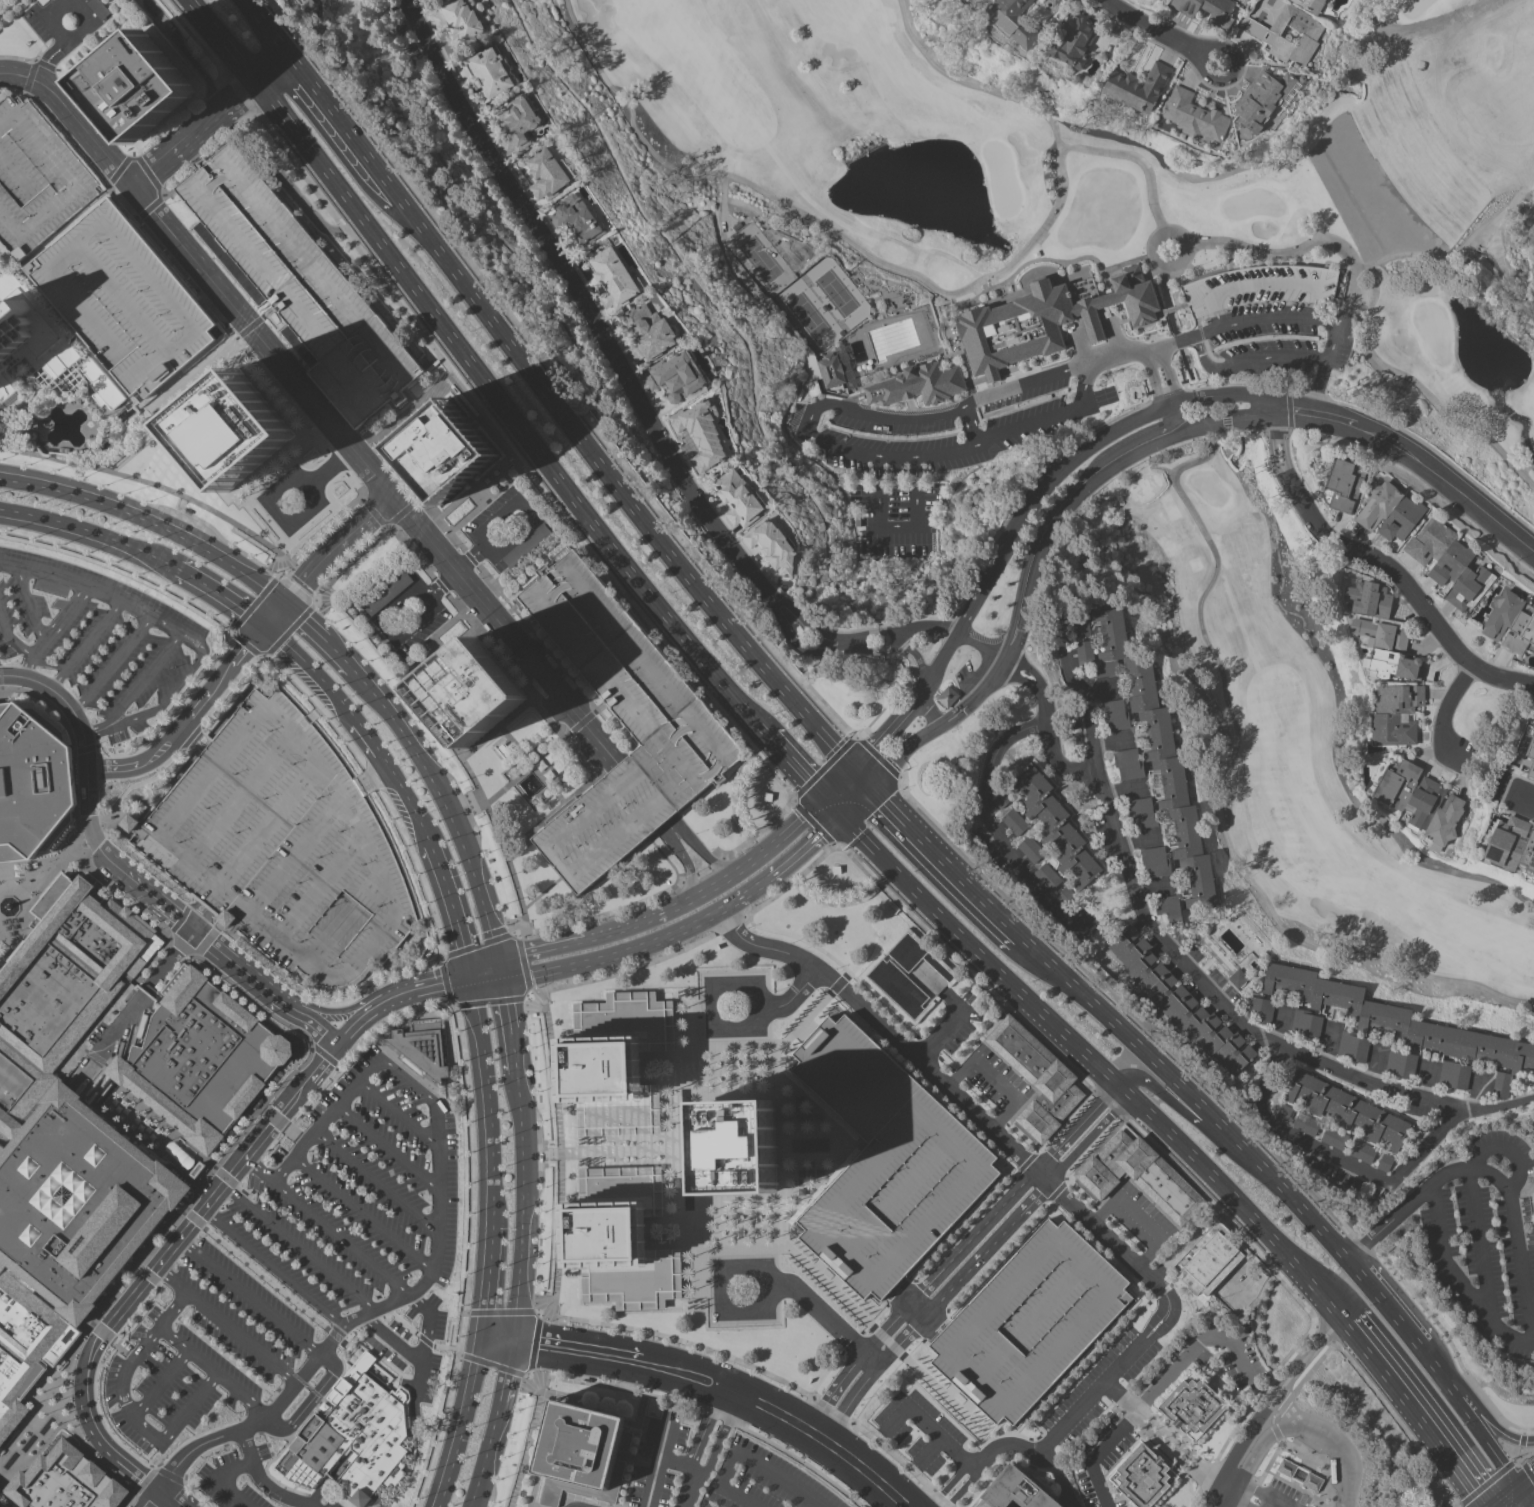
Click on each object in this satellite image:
building: (1313, 5)
building: (98, 7)
building: (1207, 9)
road: (46, 19)
building: (457, 19)
building: (1014, 21)
road: (90, 23)
road: (269, 28)
road: (1153, 33)
building: (1289, 34)
building: (1074, 41)
road: (65, 43)
road: (53, 47)
road: (63, 47)
road: (1204, 56)
road: (54, 59)
road: (43, 60)
building: (488, 72)
road: (40, 76)
road: (972, 85)
building: (1137, 86)
building: (144, 87)
building: (1262, 99)
building: (1193, 115)
building: (515, 123)
road: (213, 124)
road: (345, 127)
building: (545, 173)
building: (35, 177)
building: (575, 218)
road: (1163, 263)
building: (614, 278)
road: (987, 279)
building: (294, 282)
road: (1264, 282)
building: (1226, 290)
building: (121, 298)
parking garage: (121, 298)
road: (1264, 318)
building: (1046, 319)
building: (648, 332)
building: (41, 347)
road: (1122, 354)
road: (1248, 355)
park: (1123, 363)
road: (616, 366)
road: (475, 370)
building: (676, 375)
road: (1163, 375)
building: (919, 383)
road: (1318, 385)
building: (813, 388)
road: (1296, 408)
road: (313, 410)
road: (1333, 415)
road: (970, 424)
building: (231, 427)
building: (702, 432)
road: (1147, 434)
building: (445, 453)
road: (895, 454)
road: (874, 457)
road: (1118, 466)
road: (319, 476)
road: (1050, 479)
road: (1449, 480)
road: (619, 486)
building: (737, 498)
building: (1390, 512)
road: (1046, 519)
road: (152, 523)
road: (530, 524)
road: (87, 530)
building: (772, 546)
building: (559, 552)
road: (1382, 561)
road: (327, 562)
road: (1215, 563)
building: (1449, 563)
road: (94, 584)
road: (444, 584)
building: (387, 592)
road: (220, 593)
road: (315, 596)
road: (25, 603)
traffic signals: (290, 603)
building: (1375, 616)
road: (307, 620)
building: (1510, 622)
road: (53, 627)
road: (928, 627)
building: (1082, 627)
traffic signals: (267, 628)
road: (385, 631)
parking lot: (95, 640)
road: (10, 641)
road: (88, 643)
road: (340, 655)
road: (916, 656)
road: (112, 662)
road: (50, 663)
building: (1395, 664)
road: (994, 675)
road: (140, 682)
road: (233, 685)
building: (470, 691)
road: (1101, 691)
road: (170, 694)
building: (947, 696)
road: (1045, 697)
road: (911, 704)
road: (927, 712)
road: (178, 713)
building: (1114, 714)
road: (1445, 715)
road: (188, 718)
building: (622, 723)
parking garage: (622, 723)
road: (361, 725)
road: (88, 732)
road: (194, 735)
road: (191, 737)
road: (879, 737)
road: (1110, 739)
building: (1155, 746)
road: (88, 747)
road: (902, 752)
road: (76, 753)
building: (1530, 758)
building: (1128, 763)
building: (550, 765)
road: (796, 765)
traffic signals: (852, 765)
road: (860, 774)
road: (837, 780)
building: (31, 781)
road: (139, 782)
traffic signals: (869, 784)
road: (1122, 788)
road: (641, 791)
traffic signals: (822, 796)
road: (239, 797)
road: (1524, 797)
road: (855, 799)
building: (1420, 800)
road: (831, 805)
road: (446, 808)
building: (1141, 812)
traffic signals: (841, 815)
building: (1014, 821)
road: (268, 825)
road: (96, 827)
road: (997, 827)
building: (1057, 827)
road: (671, 828)
road: (312, 832)
road: (1137, 839)
building: (281, 844)
parking garage: (281, 844)
building: (1512, 846)
building: (1030, 848)
road: (170, 850)
road: (365, 850)
road: (705, 855)
road: (752, 861)
road: (943, 861)
building: (1155, 861)
road: (687, 865)
road: (785, 867)
road: (48, 874)
building: (1047, 876)
road: (319, 887)
road: (1152, 887)
road: (2, 888)
building: (1064, 895)
road: (452, 907)
building: (1168, 907)
road: (178, 917)
road: (198, 917)
road: (1293, 932)
road: (583, 938)
road: (518, 939)
road: (614, 955)
traffic signals: (498, 966)
road: (1189, 966)
road: (483, 970)
building: (904, 973)
traffic signals: (469, 974)
building: (1238, 977)
road: (144, 990)
road: (503, 997)
road: (780, 998)
building: (1179, 1001)
building: (1262, 1009)
road: (386, 1018)
building: (1398, 1020)
building: (1307, 1025)
road: (888, 1032)
building: (1353, 1046)
building: (419, 1048)
road: (512, 1050)
road: (323, 1055)
building: (197, 1058)
road: (1093, 1062)
building: (619, 1064)
building: (1402, 1065)
building: (1455, 1077)
road: (994, 1079)
building: (1033, 1079)
road: (409, 1081)
building: (1503, 1086)
road: (487, 1091)
road: (1191, 1092)
road: (316, 1097)
building: (1349, 1111)
road: (399, 1113)
building: (1283, 1114)
road: (1193, 1115)
road: (275, 1117)
road: (325, 1117)
building: (1307, 1124)
road: (1082, 1134)
building: (1336, 1138)
building: (66, 1142)
road: (277, 1142)
building: (737, 1145)
road: (388, 1147)
building: (1363, 1153)
road: (1340, 1159)
building: (884, 1161)
parking garage: (884, 1161)
building: (1386, 1162)
building: (194, 1168)
road: (257, 1168)
road: (225, 1176)
road: (1495, 1178)
building: (1136, 1179)
road: (376, 1180)
road: (1515, 1189)
parking lot: (357, 1200)
road: (1127, 1200)
road: (520, 1206)
road: (363, 1213)
road: (194, 1219)
road: (1439, 1236)
road: (339, 1237)
building: (626, 1241)
road: (1480, 1243)
road: (298, 1246)
road: (438, 1260)
road: (158, 1263)
building: (1205, 1265)
road: (958, 1266)
road: (272, 1267)
road: (148, 1273)
road: (490, 1273)
road: (265, 1278)
road: (191, 1296)
road: (249, 1296)
road: (1386, 1301)
road: (814, 1305)
road: (171, 1309)
building: (1028, 1320)
parking garage: (1028, 1320)
road: (453, 1321)
road: (460, 1330)
road: (335, 1335)
traffic signals: (484, 1336)
road: (424, 1338)
road: (497, 1338)
traffic signals: (511, 1340)
road: (536, 1340)
road: (1142, 1340)
road: (1194, 1349)
road: (260, 1354)
road: (618, 1354)
road: (872, 1356)
road: (419, 1361)
road: (127, 1368)
road: (213, 1370)
road: (505, 1370)
parking lot: (232, 1380)
road: (67, 1382)
road: (160, 1383)
road: (1286, 1384)
road: (292, 1386)
building: (1191, 1407)
road: (1416, 1409)
road: (1289, 1410)
road: (1494, 1411)
road: (1471, 1414)
road: (1487, 1414)
road: (261, 1420)
road: (465, 1422)
road: (176, 1423)
road: (105, 1424)
road: (927, 1425)
road: (702, 1430)
building: (354, 1431)
road: (1317, 1433)
road: (720, 1436)
road: (820, 1436)
road: (1113, 1439)
road: (661, 1442)
building: (585, 1444)
road: (1521, 1445)
road: (246, 1447)
road: (90, 1449)
road: (959, 1452)
road: (486, 1454)
road: (1181, 1454)
road: (746, 1458)
road: (656, 1463)
road: (169, 1472)
building: (1298, 1472)
road: (1497, 1473)
building: (1137, 1478)
road: (1233, 1478)
road: (144, 1479)
road: (1059, 1479)
road: (220, 1480)
building: (62, 1481)
road: (950, 1483)
road: (1527, 1484)
road: (965, 1488)
road: (1255, 1489)
road: (688, 1490)
traffic signals: (1521, 1490)
road: (279, 1492)
building: (1011, 1493)
road: (194, 1495)
parking lot: (1283, 1495)
road: (151, 1497)
road: (1510, 1498)
road: (1527, 1498)
road: (128, 1500)
road: (1221, 1500)
road: (1236, 1500)
road: (5, 1502)
building: (2, 1505)

